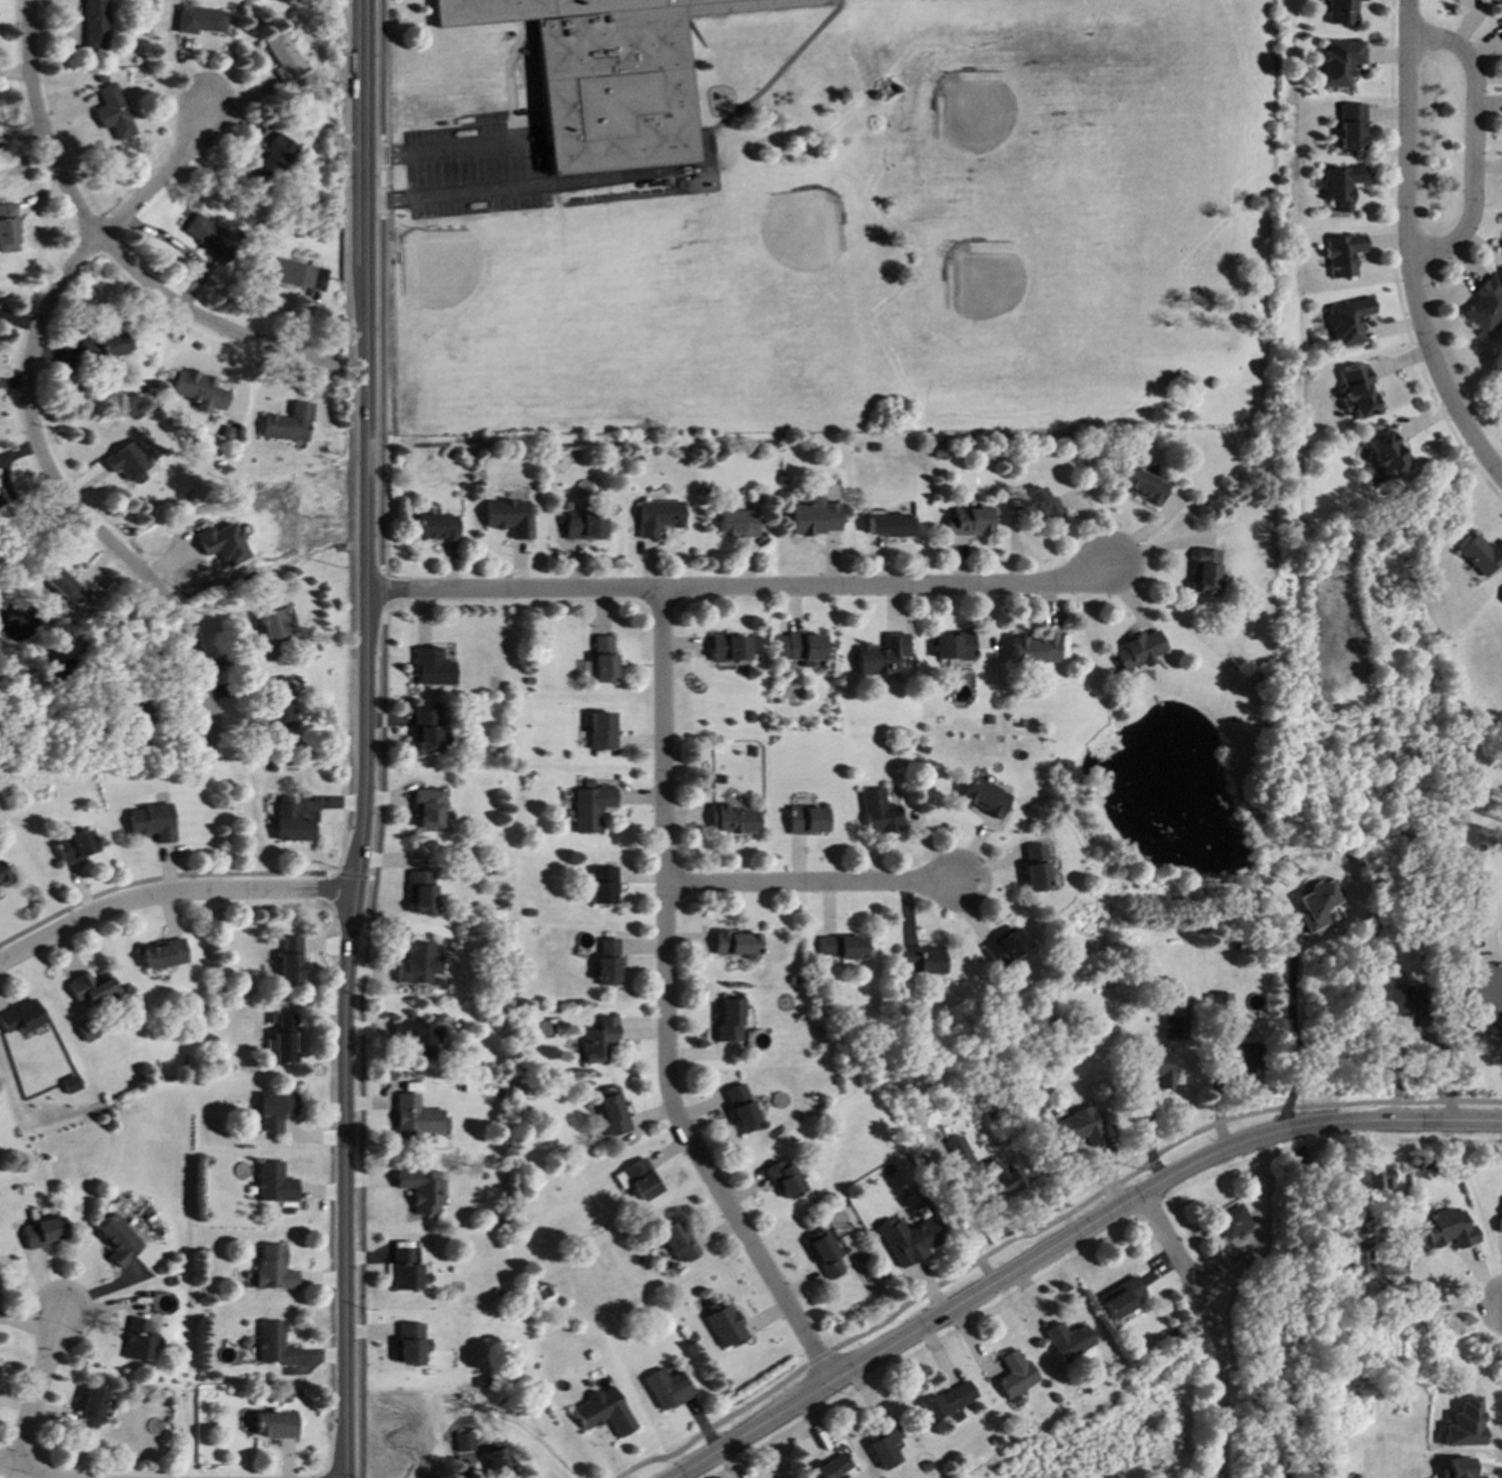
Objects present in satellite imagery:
building: (1339, 11)
building: (199, 20)
building: (93, 24)
building: (1499, 26)
building: (285, 57)
building: (1339, 62)
road: (382, 71)
building: (603, 78)
building: (112, 113)
building: (1349, 127)
road: (1470, 143)
road: (443, 153)
road: (382, 154)
building: (274, 159)
road: (382, 177)
building: (1340, 185)
road: (382, 200)
building: (7, 228)
building: (207, 236)
road: (106, 244)
road: (1406, 247)
building: (1501, 253)
building: (1342, 254)
road: (1393, 264)
building: (294, 274)
building: (1483, 304)
building: (1347, 321)
building: (100, 347)
building: (197, 391)
road: (381, 392)
building: (1356, 392)
road: (29, 414)
building: (287, 424)
building: (1384, 452)
building: (127, 462)
building: (1142, 486)
building: (0, 502)
building: (1037, 505)
building: (658, 517)
building: (508, 518)
building: (816, 518)
building: (968, 522)
building: (736, 523)
building: (584, 525)
building: (888, 526)
building: (434, 527)
building: (222, 544)
road: (1157, 544)
building: (1481, 555)
building: (1204, 571)
building: (60, 585)
road: (736, 588)
road: (381, 590)
building: (1501, 600)
building: (270, 627)
building: (954, 646)
building: (729, 648)
building: (801, 648)
building: (1033, 650)
building: (1137, 650)
building: (881, 656)
building: (603, 659)
building: (431, 667)
building: (279, 703)
building: (428, 729)
building: (601, 731)
road: (367, 739)
building: (984, 798)
building: (427, 808)
building: (591, 808)
building: (879, 812)
building: (734, 820)
building: (806, 820)
building: (151, 822)
building: (291, 822)
building: (74, 847)
building: (1035, 868)
road: (355, 876)
building: (1, 877)
road: (161, 877)
road: (810, 884)
building: (602, 885)
building: (421, 892)
road: (171, 894)
building: (1313, 906)
building: (735, 944)
building: (841, 947)
building: (1004, 947)
building: (163, 954)
building: (921, 959)
building: (290, 960)
building: (607, 962)
building: (417, 964)
building: (1482, 988)
building: (92, 990)
building: (1401, 1002)
building: (1220, 1004)
road: (666, 1007)
building: (20, 1017)
building: (728, 1021)
building: (1173, 1029)
building: (86, 1030)
road: (1296, 1035)
building: (417, 1037)
building: (284, 1039)
building: (597, 1040)
road: (362, 1042)
building: (1246, 1056)
building: (1157, 1068)
building: (69, 1084)
building: (741, 1108)
building: (274, 1111)
building: (611, 1112)
building: (415, 1117)
building: (1079, 1127)
building: (956, 1153)
building: (997, 1178)
building: (1377, 1178)
building: (638, 1180)
building: (783, 1180)
building: (422, 1189)
building: (1232, 1222)
building: (1358, 1222)
building: (1499, 1225)
road: (1040, 1228)
building: (1447, 1230)
building: (41, 1233)
road: (1068, 1236)
building: (907, 1240)
building: (116, 1241)
building: (677, 1242)
building: (824, 1255)
building: (1359, 1258)
building: (273, 1268)
building: (404, 1271)
building: (1119, 1298)
building: (725, 1327)
road: (1212, 1327)
building: (137, 1341)
building: (1067, 1341)
building: (274, 1344)
building: (410, 1344)
building: (1013, 1377)
building: (666, 1389)
road: (35, 1392)
building: (946, 1401)
building: (89, 1412)
building: (604, 1412)
building: (1464, 1424)
building: (274, 1425)
building: (464, 1442)
building: (884, 1448)
building: (498, 1463)
building: (1457, 1468)
building: (829, 1469)
road: (19, 1471)

